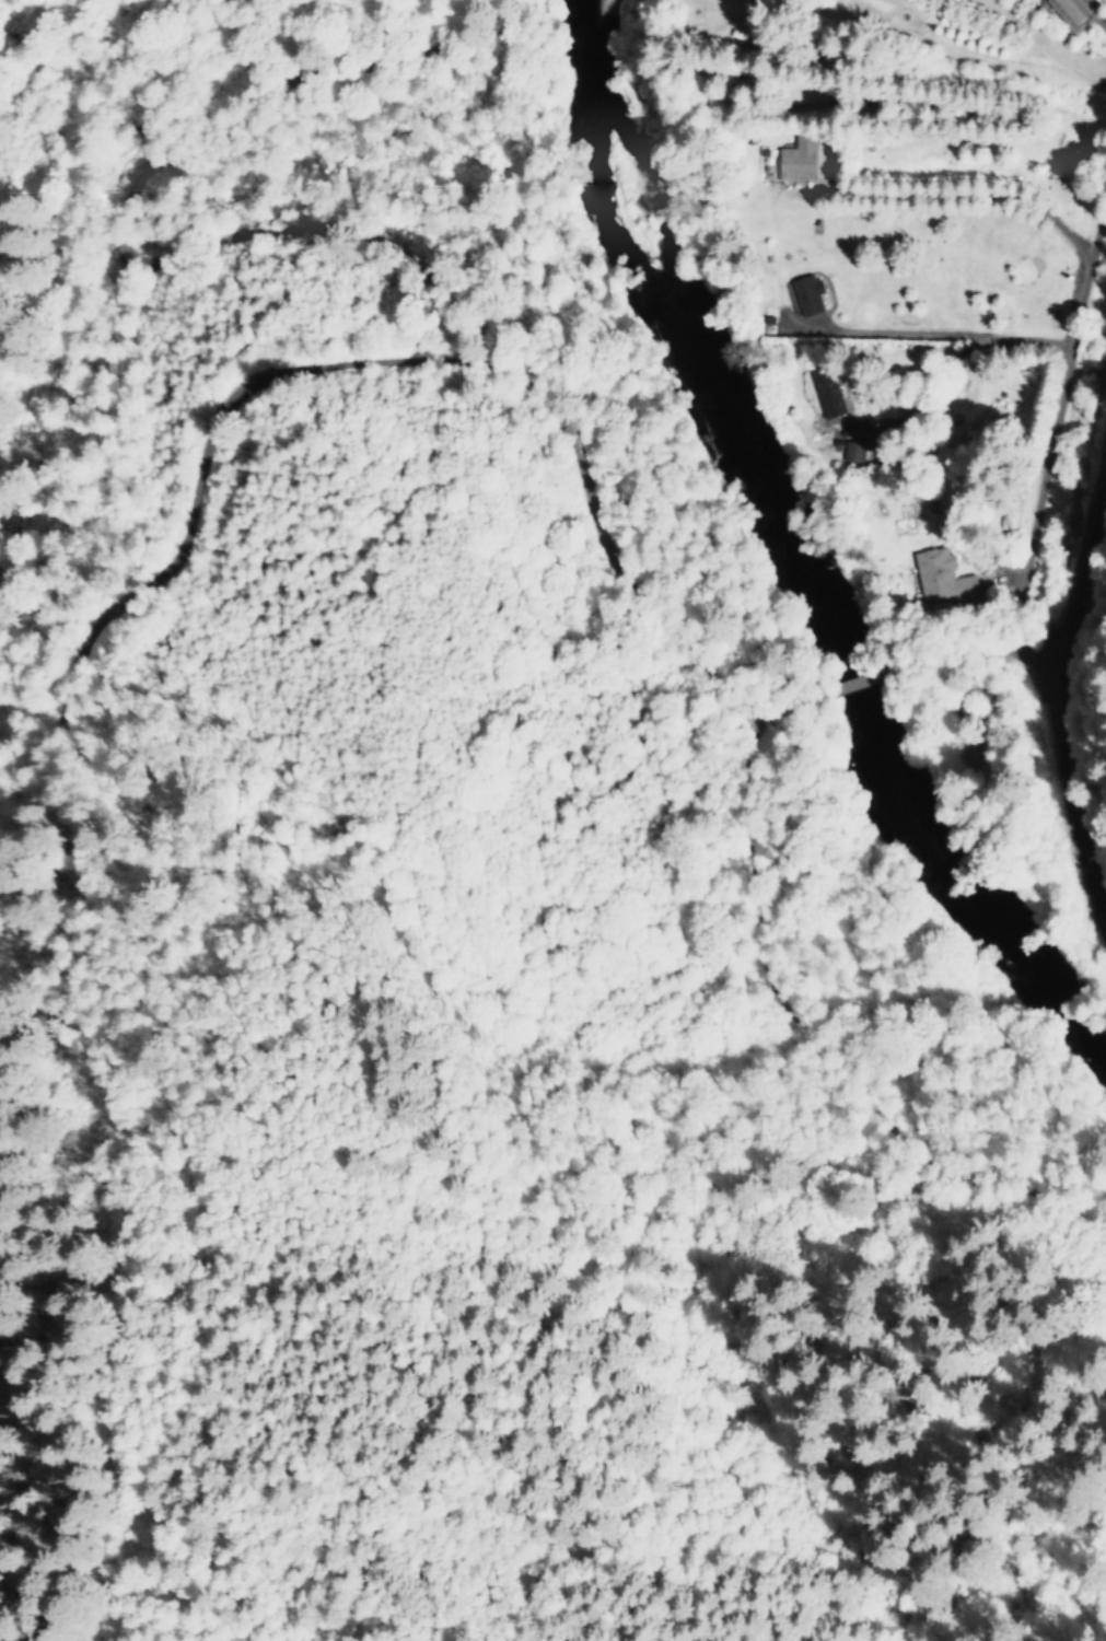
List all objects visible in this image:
building: (1064, 11)
building: (792, 161)
road: (119, 240)
building: (803, 294)
building: (823, 393)
road: (1036, 426)
building: (850, 453)
road: (568, 477)
river: (803, 563)
building: (940, 578)
road: (61, 659)
road: (1056, 730)
road: (426, 1082)

